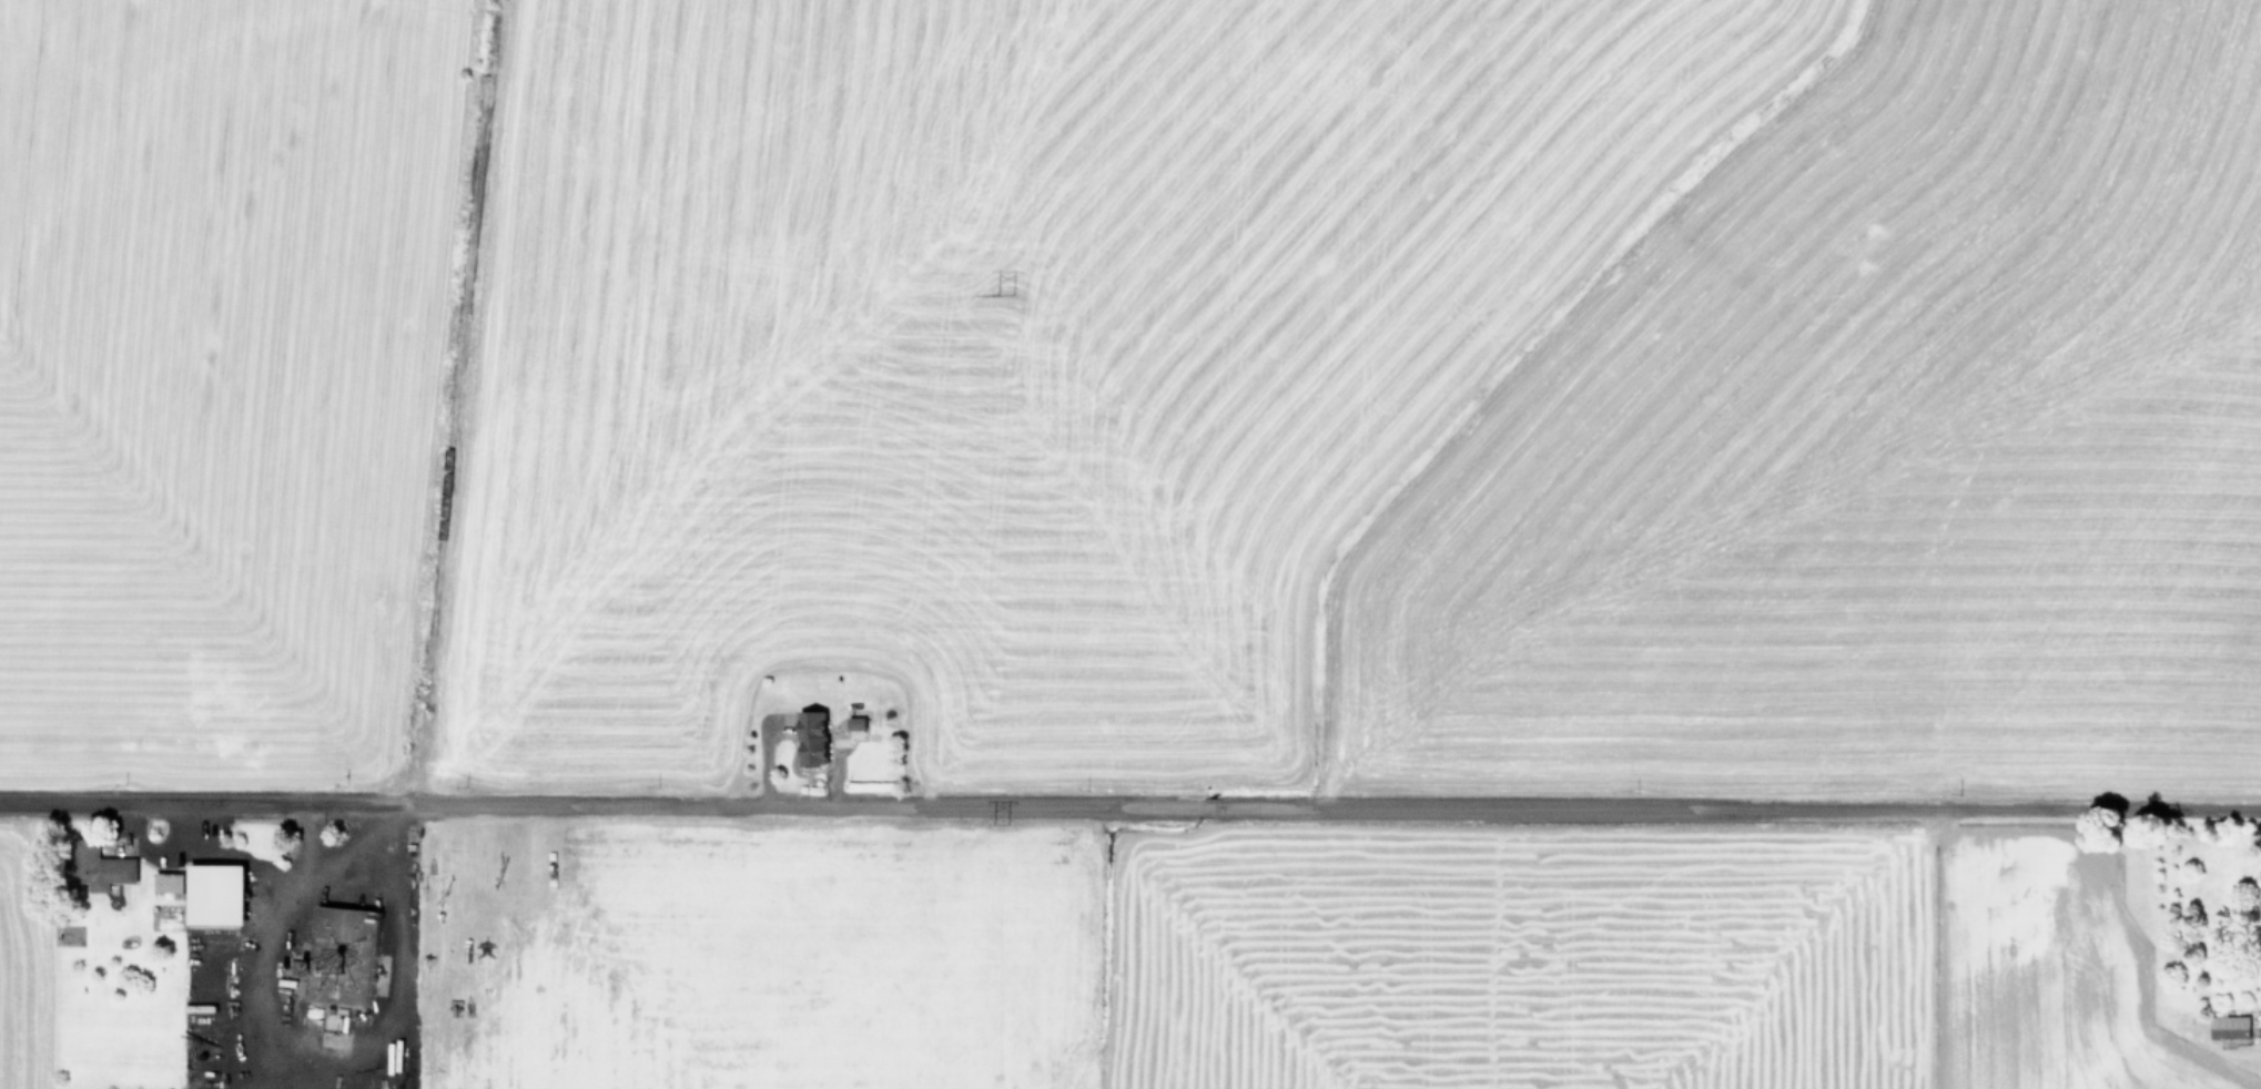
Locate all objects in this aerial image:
power tower: (997, 297)
crop: (1129, 384)
building: (852, 723)
building: (808, 739)
road: (1130, 803)
power tower: (996, 823)
building: (98, 868)
building: (164, 883)
building: (211, 895)
crop: (1121, 970)
building: (2227, 1026)
road: (323, 1048)

